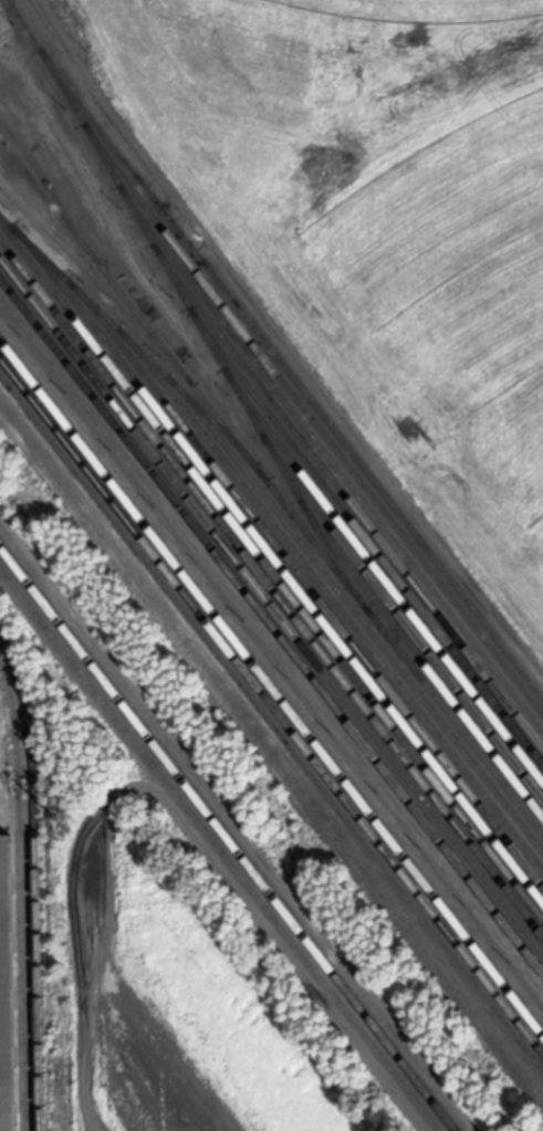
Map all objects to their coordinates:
road: (76, 167)
railway: (46, 188)
crop: (385, 211)
railway: (97, 285)
railway: (187, 305)
railway: (132, 342)
road: (281, 344)
railway: (290, 374)
railway: (312, 420)
railway: (330, 460)
railway: (271, 486)
railway: (346, 496)
railway: (365, 538)
railway: (279, 564)
railway: (271, 570)
railway: (383, 575)
railway: (306, 582)
railway: (271, 588)
railway: (330, 597)
railway: (271, 606)
railway: (356, 615)
railway: (400, 616)
railway: (271, 626)
railway: (420, 659)
railway: (271, 687)
railway: (271, 705)
railway: (271, 725)
road: (271, 747)
railway: (227, 838)
railway: (218, 850)
road: (210, 856)
railway: (32, 882)
railway: (17, 903)
building: (4, 993)
crop: (185, 999)

